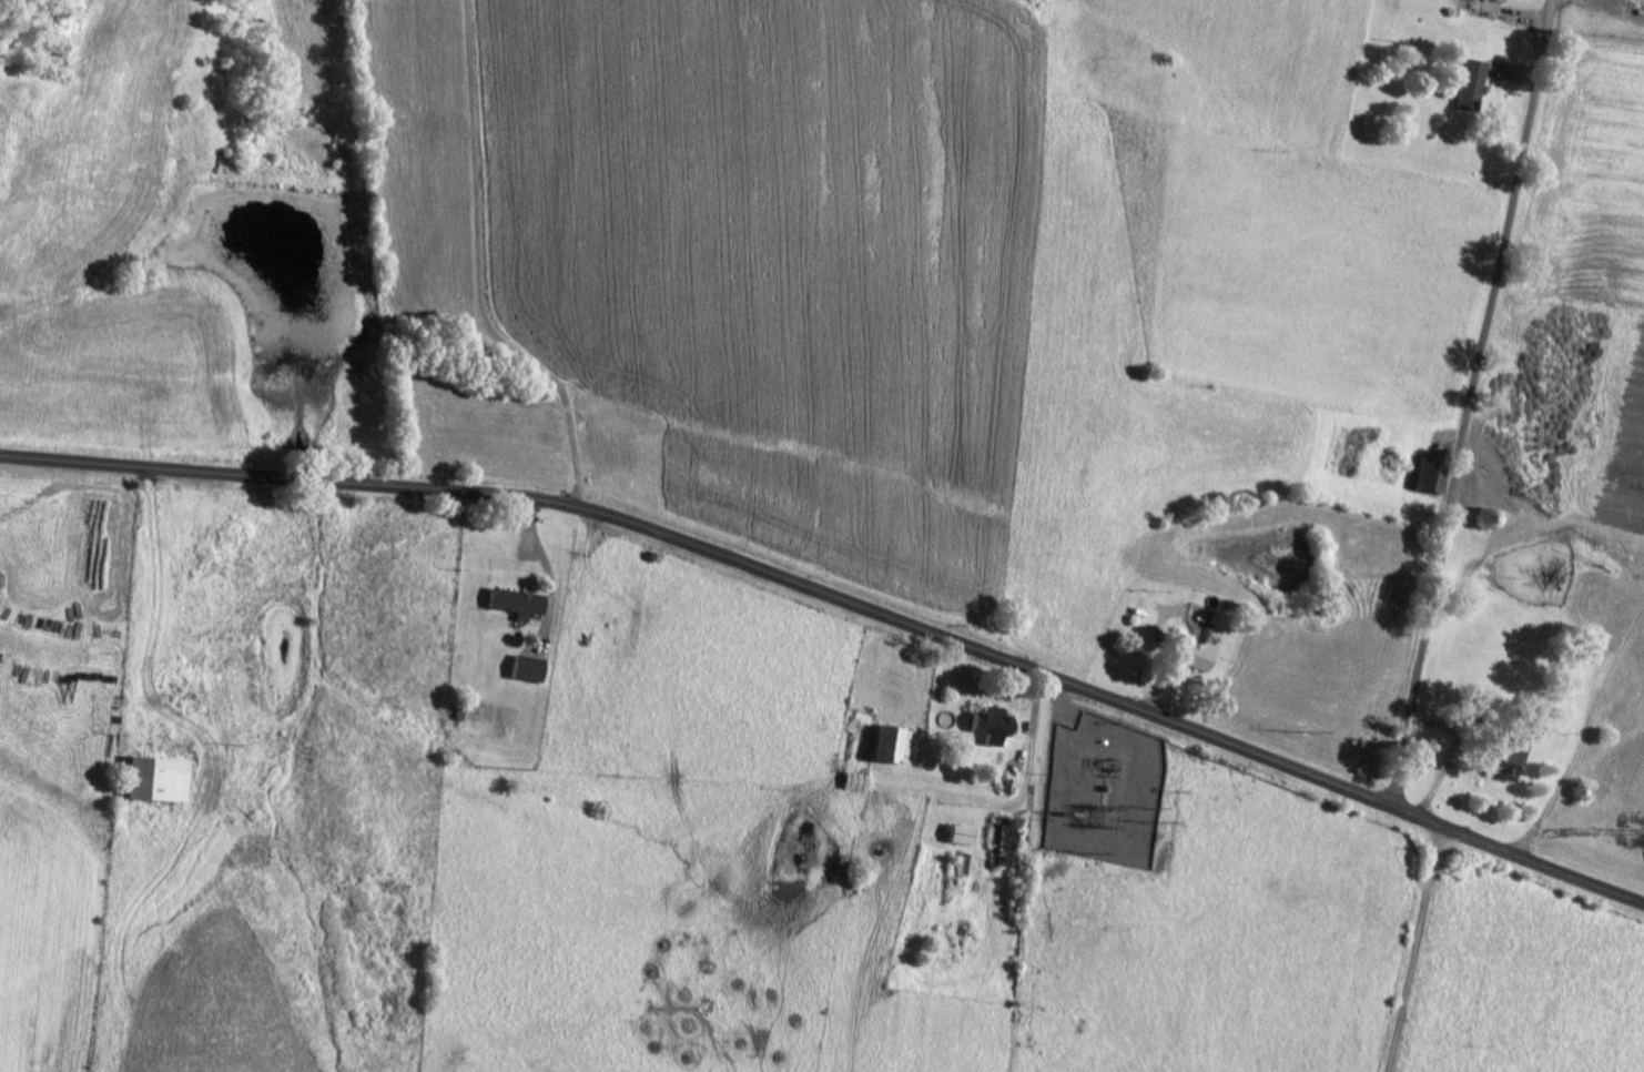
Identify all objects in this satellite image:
building: (1468, 83)
road: (477, 272)
road: (1472, 403)
road: (840, 598)
building: (1194, 653)
building: (527, 666)
building: (988, 722)
building: (1501, 757)
building: (150, 776)
power substation: (1104, 788)
road: (1414, 948)

